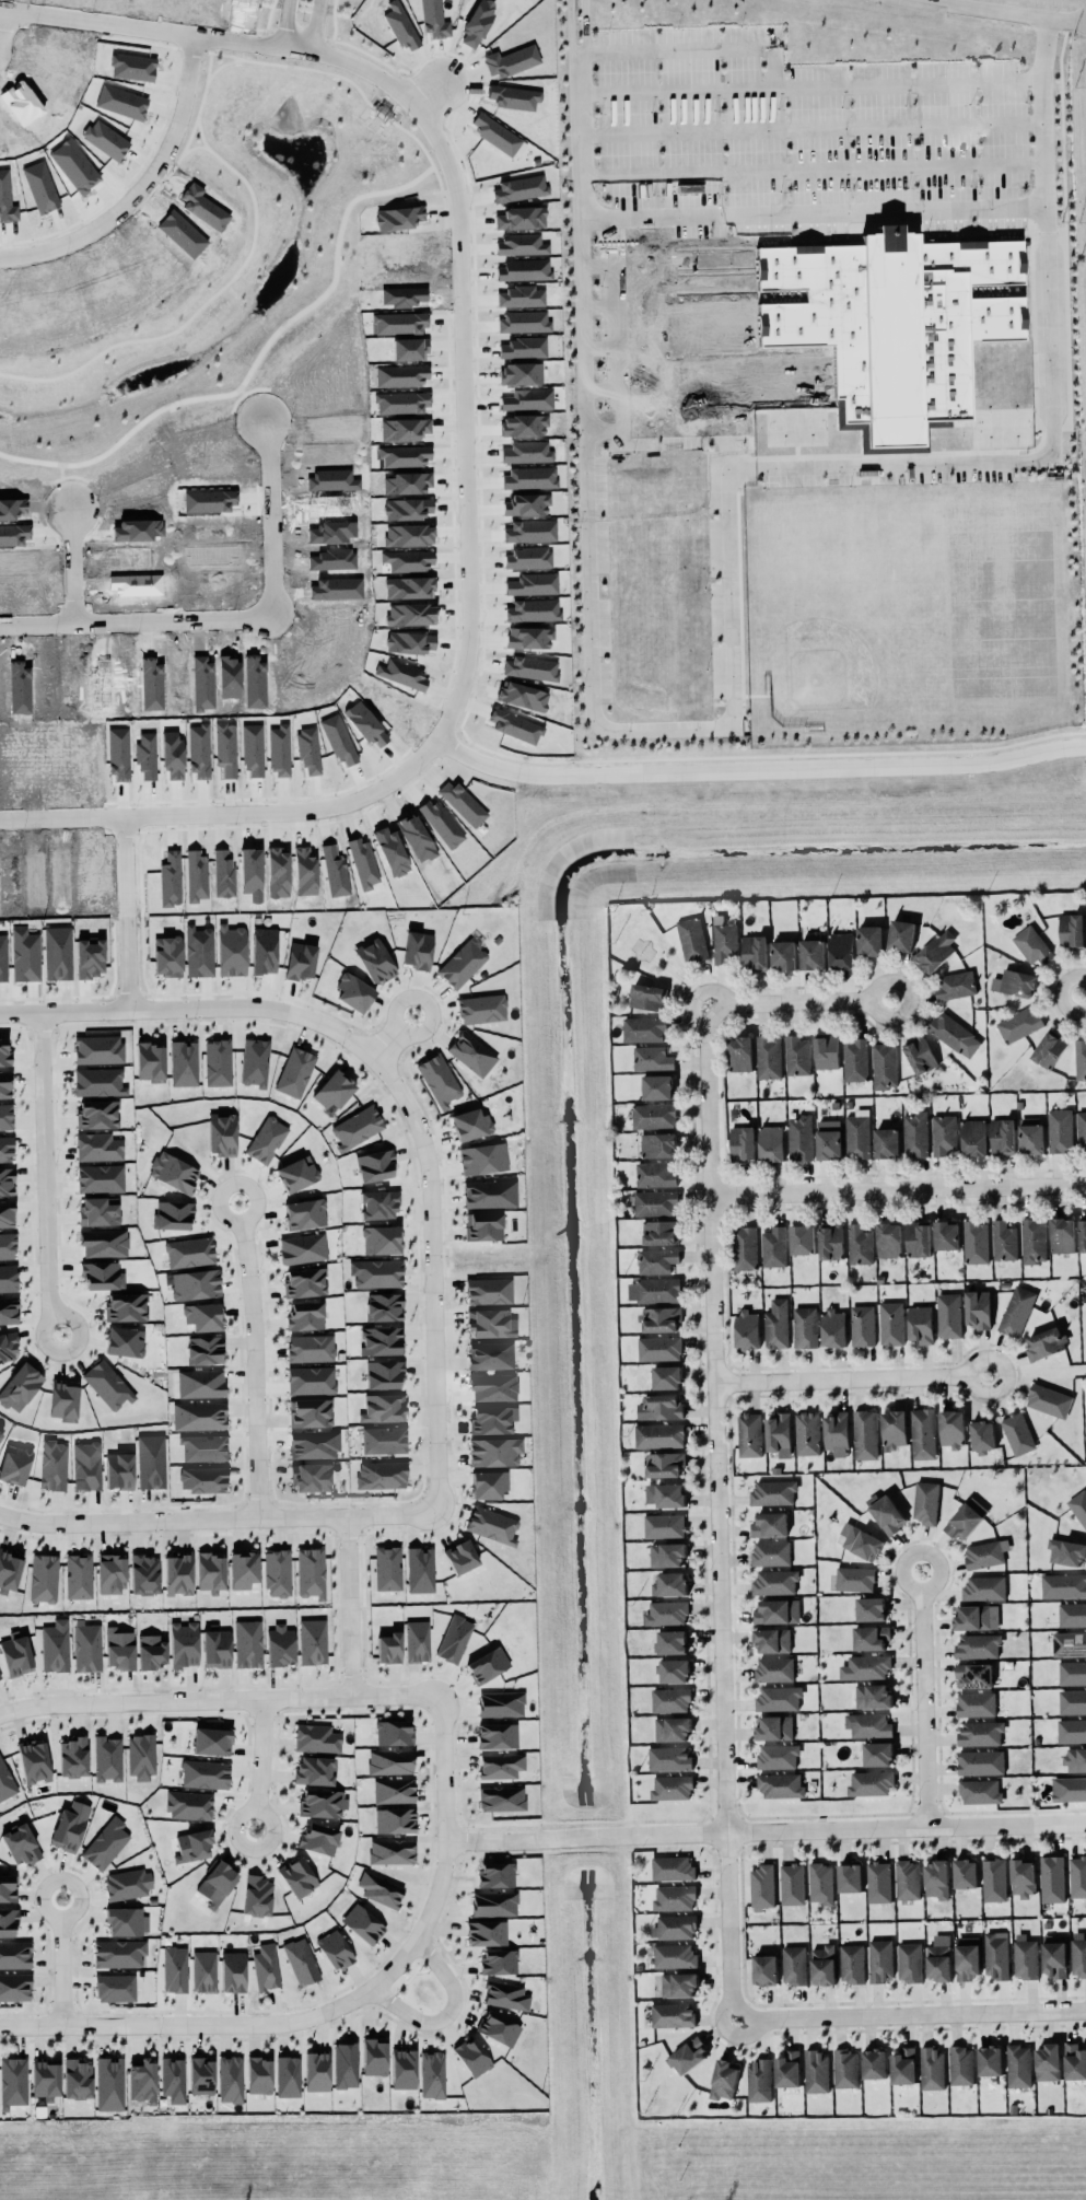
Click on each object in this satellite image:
road: (985, 8)
building: (433, 19)
road: (1063, 20)
road: (285, 25)
building: (400, 26)
road: (314, 27)
road: (698, 49)
building: (510, 60)
road: (571, 62)
road: (803, 90)
road: (428, 96)
road: (804, 131)
building: (494, 132)
building: (105, 139)
road: (142, 185)
building: (519, 188)
road: (806, 214)
building: (397, 218)
building: (519, 244)
road: (670, 265)
building: (523, 269)
road: (647, 309)
building: (400, 322)
building: (524, 322)
building: (891, 323)
road: (649, 349)
road: (723, 369)
road: (462, 372)
building: (401, 375)
building: (402, 401)
building: (405, 429)
road: (662, 431)
building: (923, 439)
building: (526, 452)
building: (405, 455)
building: (528, 478)
building: (526, 504)
building: (406, 508)
building: (529, 531)
building: (408, 535)
building: (526, 558)
building: (408, 560)
road: (75, 561)
building: (532, 584)
building: (408, 587)
building: (533, 610)
road: (725, 613)
road: (235, 614)
building: (409, 614)
building: (528, 637)
building: (409, 642)
building: (529, 667)
building: (402, 674)
building: (515, 725)
building: (339, 740)
building: (225, 748)
building: (279, 749)
building: (198, 750)
building: (253, 750)
building: (118, 753)
road: (758, 769)
building: (462, 802)
road: (62, 807)
building: (363, 863)
building: (196, 875)
road: (127, 913)
building: (1071, 930)
building: (901, 934)
building: (691, 939)
building: (724, 940)
building: (869, 940)
building: (1032, 944)
building: (264, 950)
building: (417, 950)
building: (841, 950)
building: (936, 950)
building: (198, 951)
building: (231, 951)
building: (755, 952)
building: (57, 953)
building: (783, 954)
building: (811, 954)
building: (24, 955)
building: (166, 955)
building: (2, 957)
building: (90, 957)
building: (300, 961)
building: (374, 961)
building: (462, 964)
building: (1017, 982)
building: (955, 985)
building: (353, 992)
road: (1061, 993)
building: (647, 996)
road: (789, 997)
road: (194, 1008)
building: (481, 1009)
road: (884, 1017)
building: (1019, 1023)
building: (644, 1028)
building: (955, 1034)
road: (396, 1036)
building: (1049, 1048)
building: (98, 1049)
building: (826, 1051)
building: (739, 1052)
building: (4, 1054)
building: (471, 1054)
building: (797, 1055)
building: (920, 1055)
building: (769, 1057)
building: (652, 1058)
building: (1079, 1058)
building: (855, 1059)
building: (150, 1062)
building: (218, 1062)
building: (254, 1062)
building: (184, 1063)
building: (885, 1064)
building: (294, 1072)
building: (439, 1081)
building: (98, 1082)
building: (4, 1084)
building: (657, 1086)
building: (332, 1091)
building: (654, 1115)
building: (5, 1116)
building: (470, 1125)
building: (357, 1127)
building: (1060, 1130)
building: (1081, 1130)
building: (221, 1133)
building: (915, 1133)
building: (944, 1133)
building: (1030, 1134)
building: (857, 1136)
building: (1002, 1136)
building: (799, 1137)
building: (973, 1137)
building: (829, 1139)
building: (266, 1140)
building: (771, 1142)
building: (886, 1142)
building: (743, 1143)
building: (658, 1144)
building: (98, 1146)
building: (482, 1159)
building: (375, 1165)
building: (173, 1172)
building: (296, 1174)
building: (655, 1174)
road: (47, 1175)
building: (100, 1178)
building: (7, 1180)
road: (898, 1185)
building: (489, 1194)
building: (655, 1202)
building: (378, 1204)
building: (98, 1211)
building: (304, 1213)
building: (172, 1214)
building: (482, 1226)
building: (661, 1232)
building: (1062, 1234)
building: (1083, 1234)
building: (946, 1235)
building: (802, 1238)
building: (918, 1238)
building: (381, 1239)
building: (888, 1239)
building: (1004, 1239)
building: (1034, 1239)
building: (830, 1242)
building: (976, 1242)
building: (104, 1243)
building: (859, 1244)
building: (7, 1245)
building: (774, 1246)
building: (745, 1247)
building: (302, 1248)
building: (189, 1252)
building: (656, 1260)
building: (377, 1273)
building: (102, 1276)
road: (434, 1278)
building: (304, 1282)
building: (195, 1284)
building: (654, 1290)
building: (488, 1291)
building: (126, 1306)
building: (384, 1306)
building: (977, 1308)
building: (8, 1309)
building: (1017, 1309)
building: (948, 1314)
building: (304, 1315)
building: (202, 1316)
building: (659, 1318)
building: (487, 1323)
building: (776, 1323)
building: (891, 1323)
building: (920, 1323)
building: (862, 1325)
building: (805, 1326)
building: (833, 1327)
building: (747, 1329)
building: (382, 1340)
building: (124, 1341)
building: (1046, 1342)
building: (8, 1347)
building: (310, 1348)
building: (659, 1348)
building: (203, 1350)
building: (490, 1354)
road: (257, 1360)
building: (384, 1374)
building: (667, 1376)
road: (852, 1377)
building: (311, 1380)
building: (200, 1383)
building: (107, 1385)
building: (20, 1387)
building: (493, 1387)
building: (1049, 1399)
building: (63, 1400)
building: (663, 1406)
building: (383, 1408)
building: (310, 1412)
building: (198, 1416)
building: (491, 1419)
building: (895, 1428)
building: (951, 1428)
building: (807, 1432)
building: (837, 1432)
building: (0, 1433)
building: (779, 1433)
building: (922, 1433)
building: (1017, 1433)
building: (658, 1434)
building: (749, 1434)
building: (865, 1434)
building: (982, 1435)
building: (384, 1440)
building: (314, 1444)
building: (203, 1447)
building: (494, 1452)
building: (151, 1462)
building: (14, 1464)
building: (664, 1464)
building: (52, 1465)
building: (86, 1465)
building: (118, 1470)
building: (381, 1475)
building: (311, 1477)
building: (202, 1479)
building: (488, 1483)
building: (773, 1491)
building: (669, 1494)
building: (925, 1501)
building: (1078, 1505)
building: (887, 1514)
building: (966, 1518)
road: (219, 1521)
building: (769, 1524)
building: (492, 1525)
building: (664, 1525)
building: (861, 1540)
building: (1066, 1551)
building: (771, 1552)
building: (985, 1552)
building: (667, 1553)
building: (460, 1557)
building: (387, 1568)
building: (243, 1569)
building: (420, 1570)
building: (9, 1571)
building: (210, 1572)
building: (311, 1572)
building: (110, 1573)
building: (177, 1573)
building: (277, 1573)
building: (144, 1574)
building: (78, 1576)
building: (44, 1578)
building: (855, 1578)
building: (775, 1582)
building: (670, 1584)
building: (1063, 1585)
building: (984, 1587)
road: (352, 1607)
building: (871, 1608)
building: (772, 1611)
building: (666, 1613)
building: (1072, 1614)
building: (976, 1616)
building: (871, 1637)
building: (454, 1639)
building: (772, 1640)
building: (312, 1641)
building: (417, 1641)
building: (672, 1641)
building: (247, 1643)
building: (1069, 1643)
building: (184, 1644)
building: (55, 1645)
building: (280, 1645)
building: (978, 1645)
building: (86, 1646)
building: (215, 1648)
building: (388, 1648)
building: (119, 1649)
building: (150, 1651)
building: (15, 1655)
building: (488, 1665)
building: (865, 1666)
building: (774, 1668)
building: (674, 1669)
building: (1072, 1672)
building: (973, 1675)
building: (0, 1677)
road: (723, 1683)
building: (873, 1696)
road: (922, 1697)
building: (779, 1698)
building: (670, 1699)
road: (221, 1700)
building: (1072, 1701)
building: (501, 1703)
building: (976, 1703)
building: (868, 1724)
building: (773, 1727)
building: (672, 1728)
building: (1072, 1730)
building: (394, 1732)
building: (980, 1732)
building: (497, 1735)
building: (316, 1738)
building: (211, 1741)
building: (877, 1753)
building: (140, 1756)
building: (778, 1756)
building: (73, 1757)
building: (107, 1758)
building: (669, 1758)
building: (1075, 1758)
building: (34, 1761)
building: (390, 1761)
building: (981, 1761)
road: (264, 1765)
building: (501, 1766)
building: (315, 1770)
building: (205, 1773)
building: (5, 1781)
building: (871, 1782)
building: (780, 1784)
building: (672, 1786)
building: (1069, 1788)
building: (394, 1790)
building: (980, 1791)
building: (501, 1797)
building: (320, 1803)
building: (189, 1804)
building: (395, 1820)
building: (69, 1826)
road: (767, 1828)
road: (447, 1837)
building: (318, 1839)
building: (20, 1843)
building: (106, 1843)
building: (192, 1846)
building: (392, 1851)
building: (673, 1867)
building: (965, 1872)
building: (495, 1874)
building: (1077, 1876)
building: (297, 1877)
building: (850, 1877)
building: (1023, 1877)
building: (936, 1878)
building: (994, 1878)
building: (1052, 1878)
building: (907, 1879)
building: (821, 1882)
building: (878, 1882)
building: (217, 1883)
building: (792, 1883)
building: (128, 1884)
building: (762, 1886)
building: (8, 1887)
building: (381, 1890)
building: (257, 1896)
building: (674, 1897)
road: (44, 1899)
building: (493, 1904)
building: (126, 1921)
building: (8, 1922)
building: (362, 1924)
building: (675, 1927)
building: (486, 1932)
building: (334, 1949)
building: (118, 1953)
building: (14, 1954)
building: (995, 1954)
building: (1078, 1954)
building: (675, 1955)
building: (1025, 1956)
building: (967, 1957)
building: (1053, 1957)
building: (880, 1959)
building: (301, 1960)
building: (498, 1962)
building: (910, 1962)
building: (938, 1962)
building: (852, 1963)
building: (794, 1964)
building: (824, 1964)
building: (266, 1966)
building: (174, 1968)
building: (766, 1969)
road: (63, 1970)
building: (203, 1971)
building: (233, 1971)
building: (679, 1983)
building: (14, 1987)
building: (115, 1987)
building: (505, 1995)
road: (449, 2014)
building: (673, 2014)
road: (207, 2025)
building: (499, 2028)
building: (374, 2056)
building: (688, 2056)
building: (472, 2057)
building: (990, 2060)
building: (1075, 2060)
building: (1048, 2061)
building: (874, 2062)
building: (346, 2064)
building: (960, 2064)
building: (1018, 2064)
building: (903, 2065)
building: (787, 2068)
building: (845, 2068)
building: (932, 2068)
building: (404, 2069)
building: (316, 2071)
building: (817, 2071)
building: (432, 2074)
building: (258, 2075)
building: (201, 2076)
building: (288, 2076)
building: (230, 2079)
building: (723, 2079)
building: (77, 2080)
building: (173, 2080)
building: (759, 2080)
building: (45, 2081)
building: (142, 2081)
building: (13, 2082)
building: (109, 2083)

